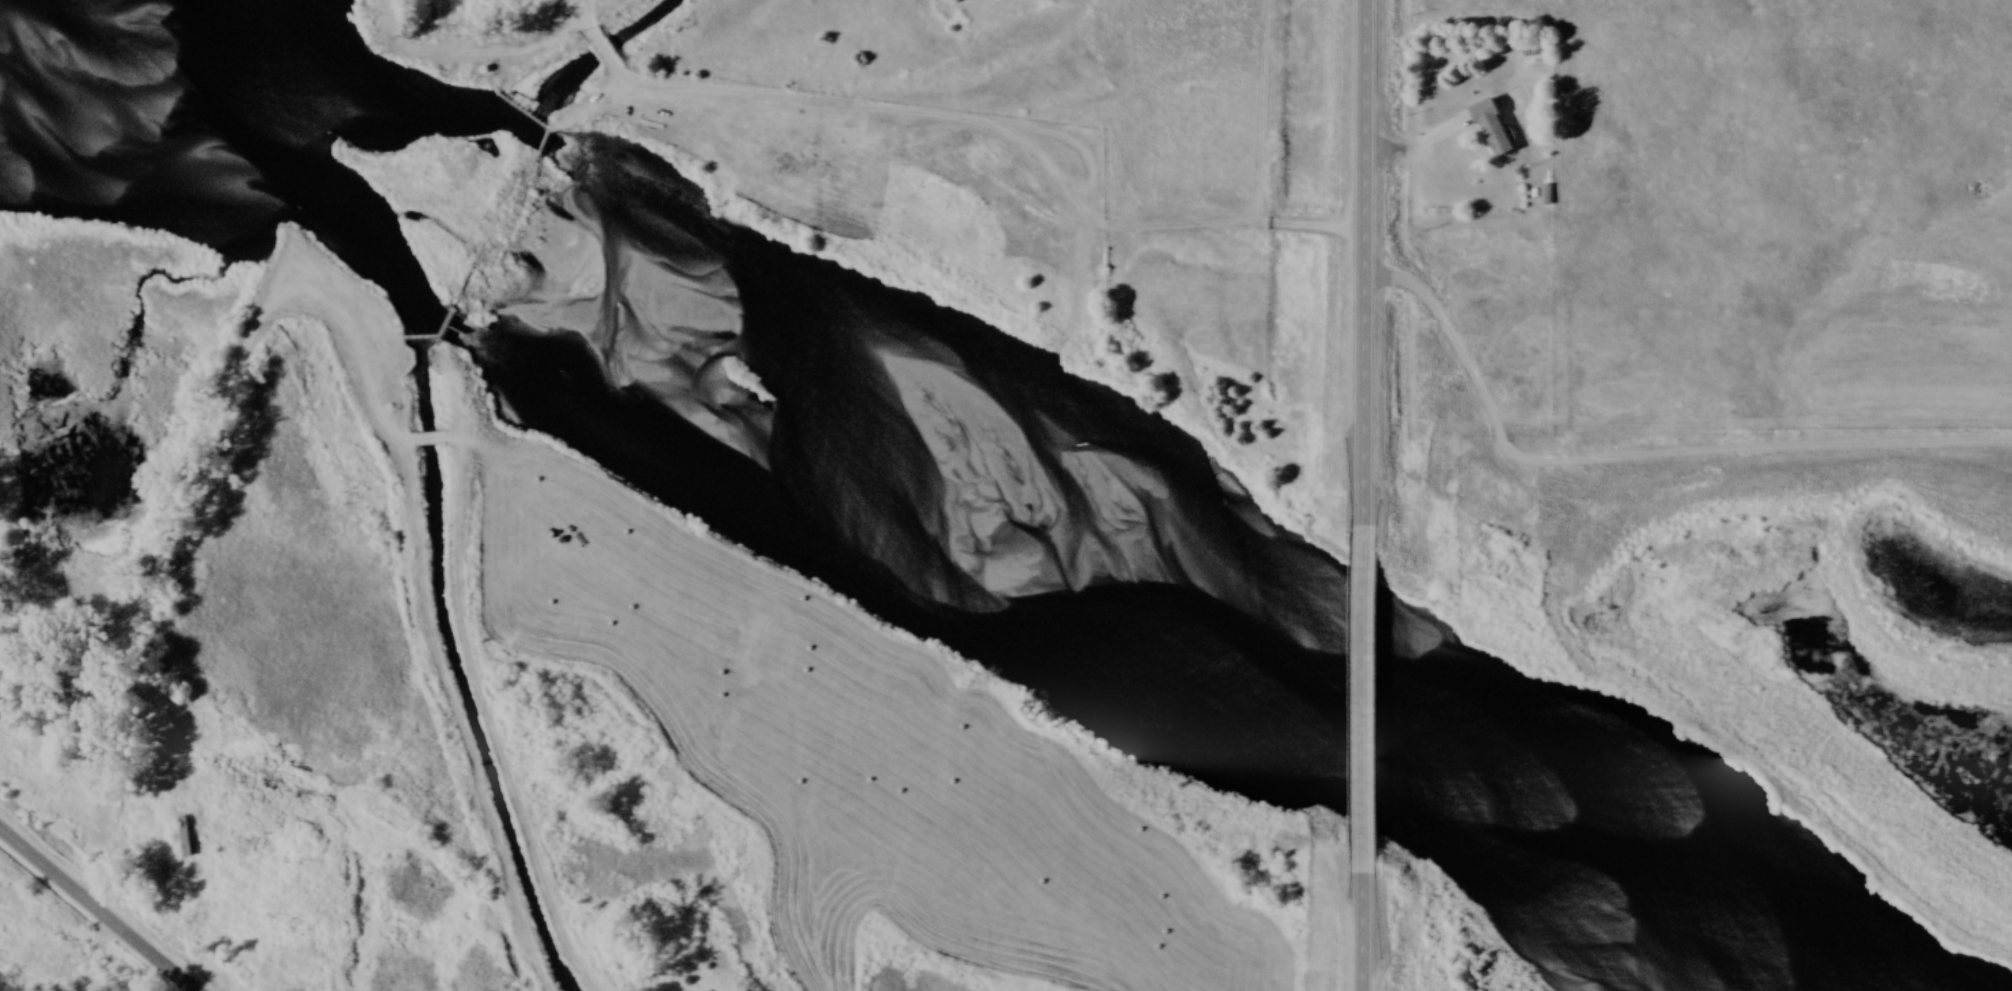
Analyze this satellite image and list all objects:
road: (586, 17)
road: (389, 18)
road: (607, 56)
road: (740, 117)
building: (1495, 129)
road: (1415, 186)
road: (1361, 263)
river: (840, 315)
road: (184, 487)
river: (916, 522)
road: (1368, 695)
building: (186, 838)
road: (94, 910)
road: (1367, 927)
road: (90, 953)

